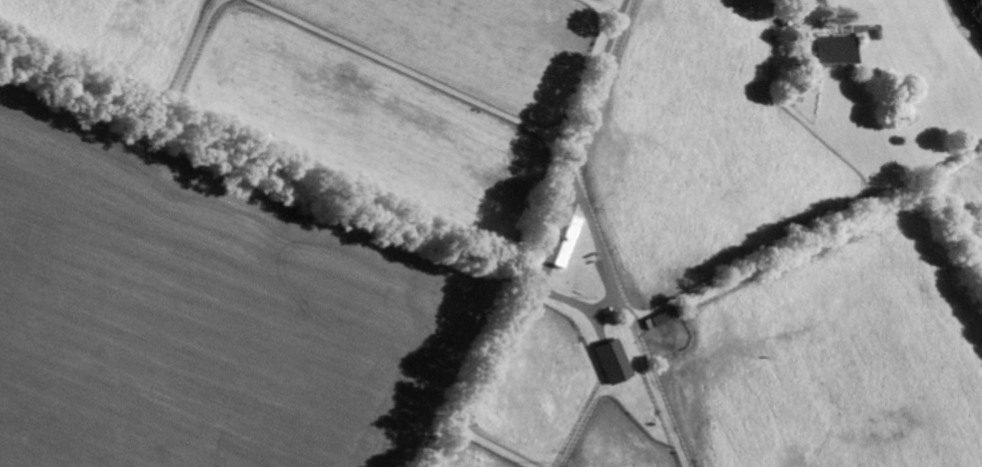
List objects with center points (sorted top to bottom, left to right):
road: (793, 12)
building: (834, 49)
road: (541, 236)
building: (561, 239)
road: (601, 251)
road: (575, 307)
building: (662, 318)
building: (615, 361)

